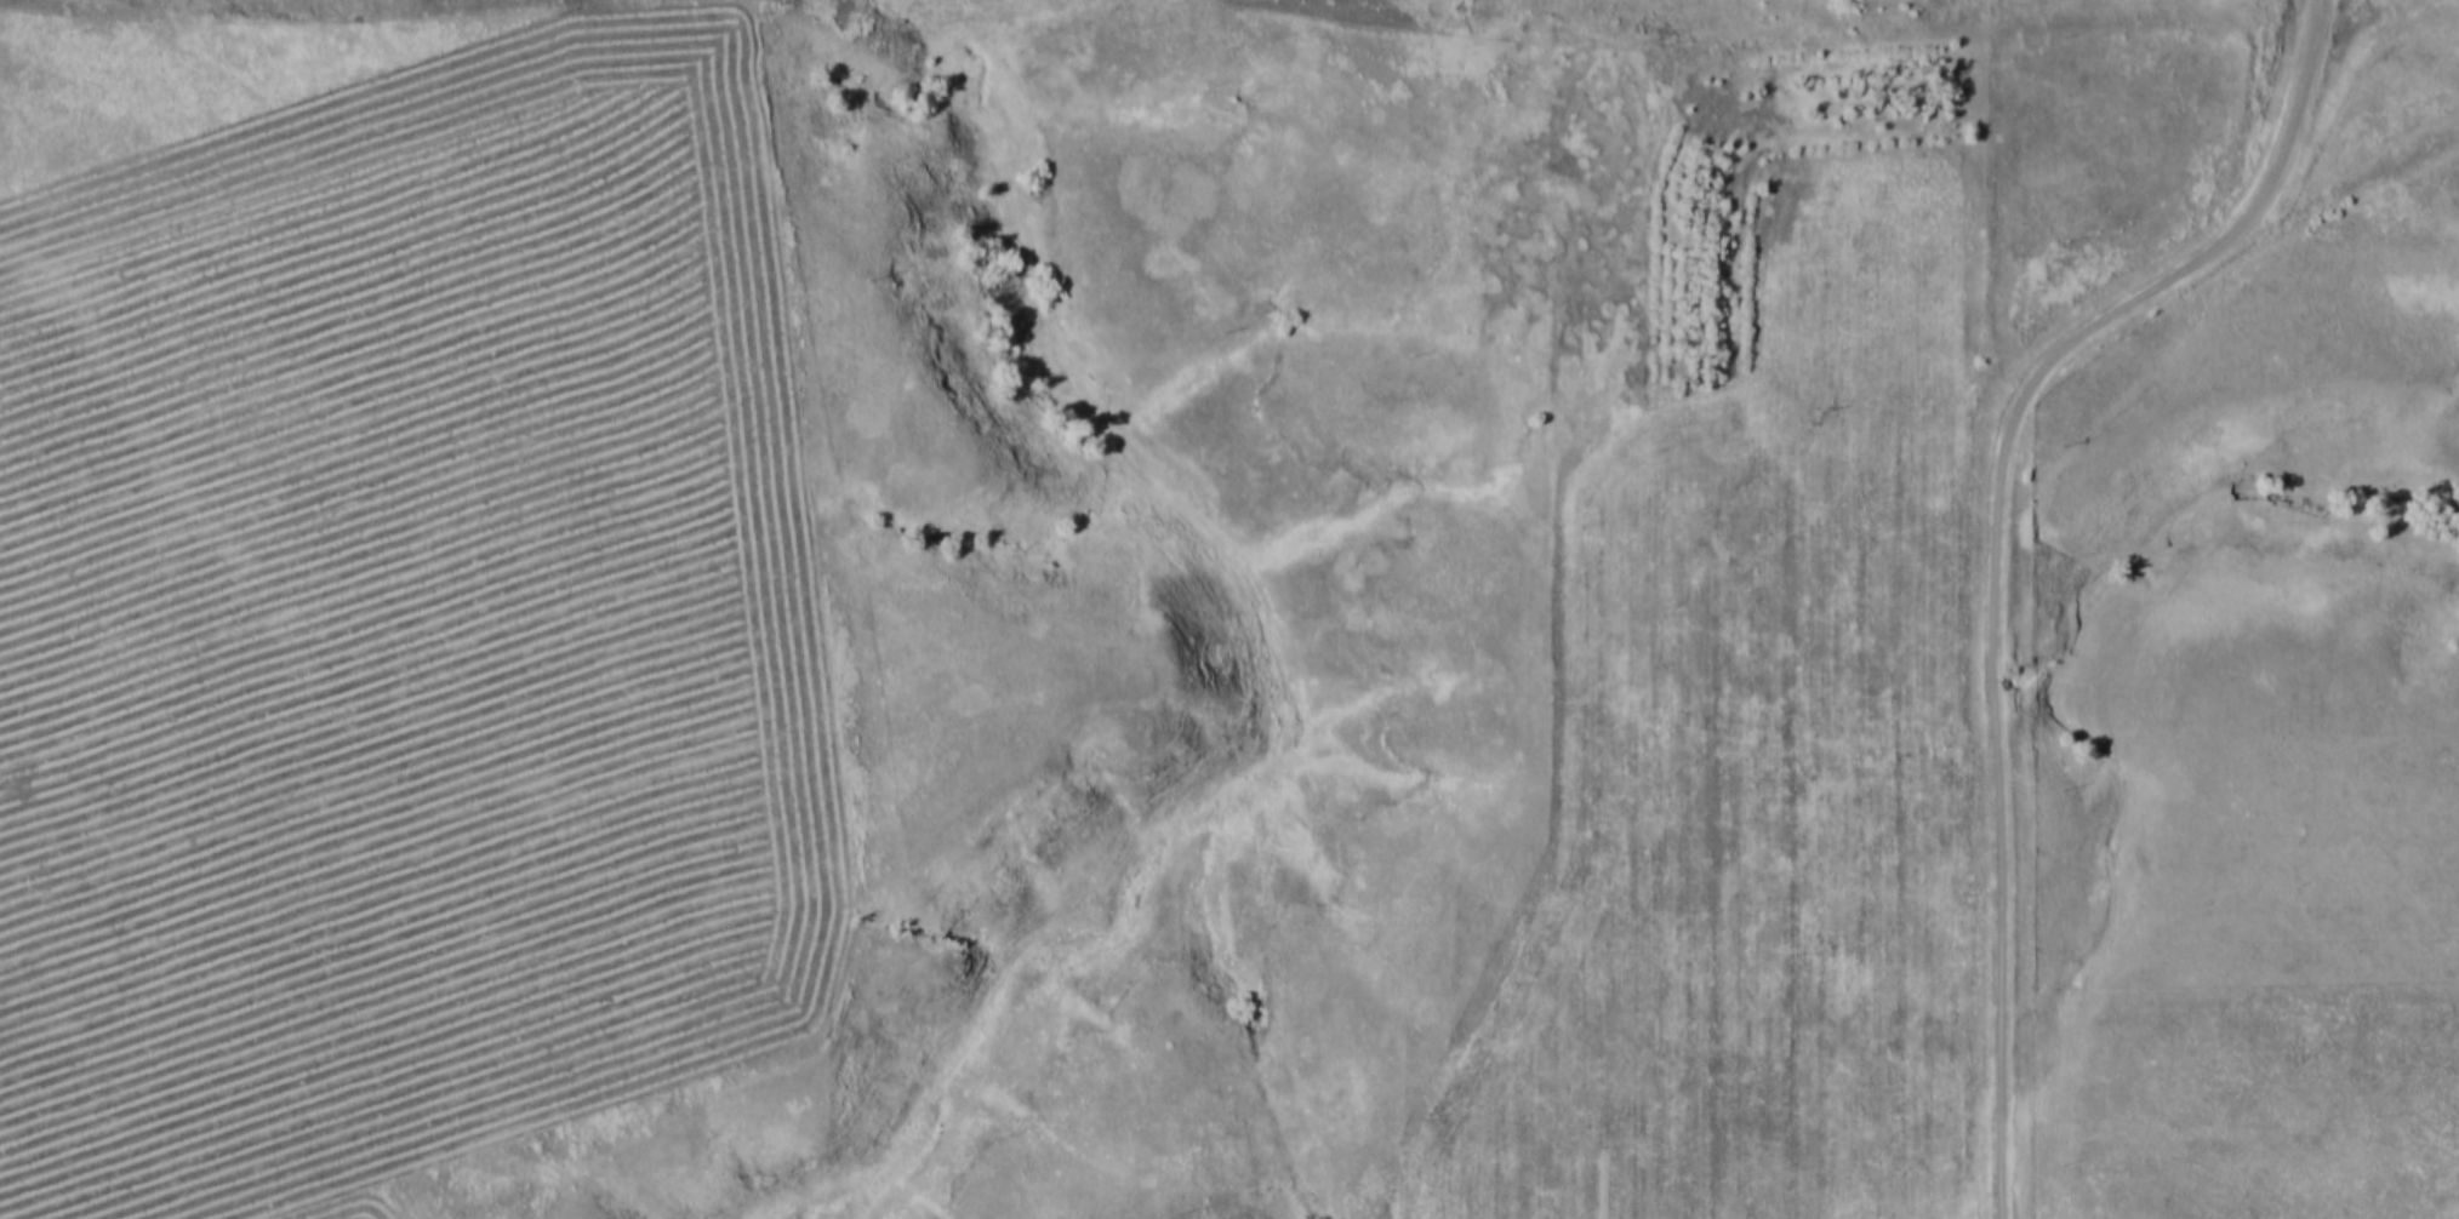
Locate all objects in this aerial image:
road: (1996, 540)

